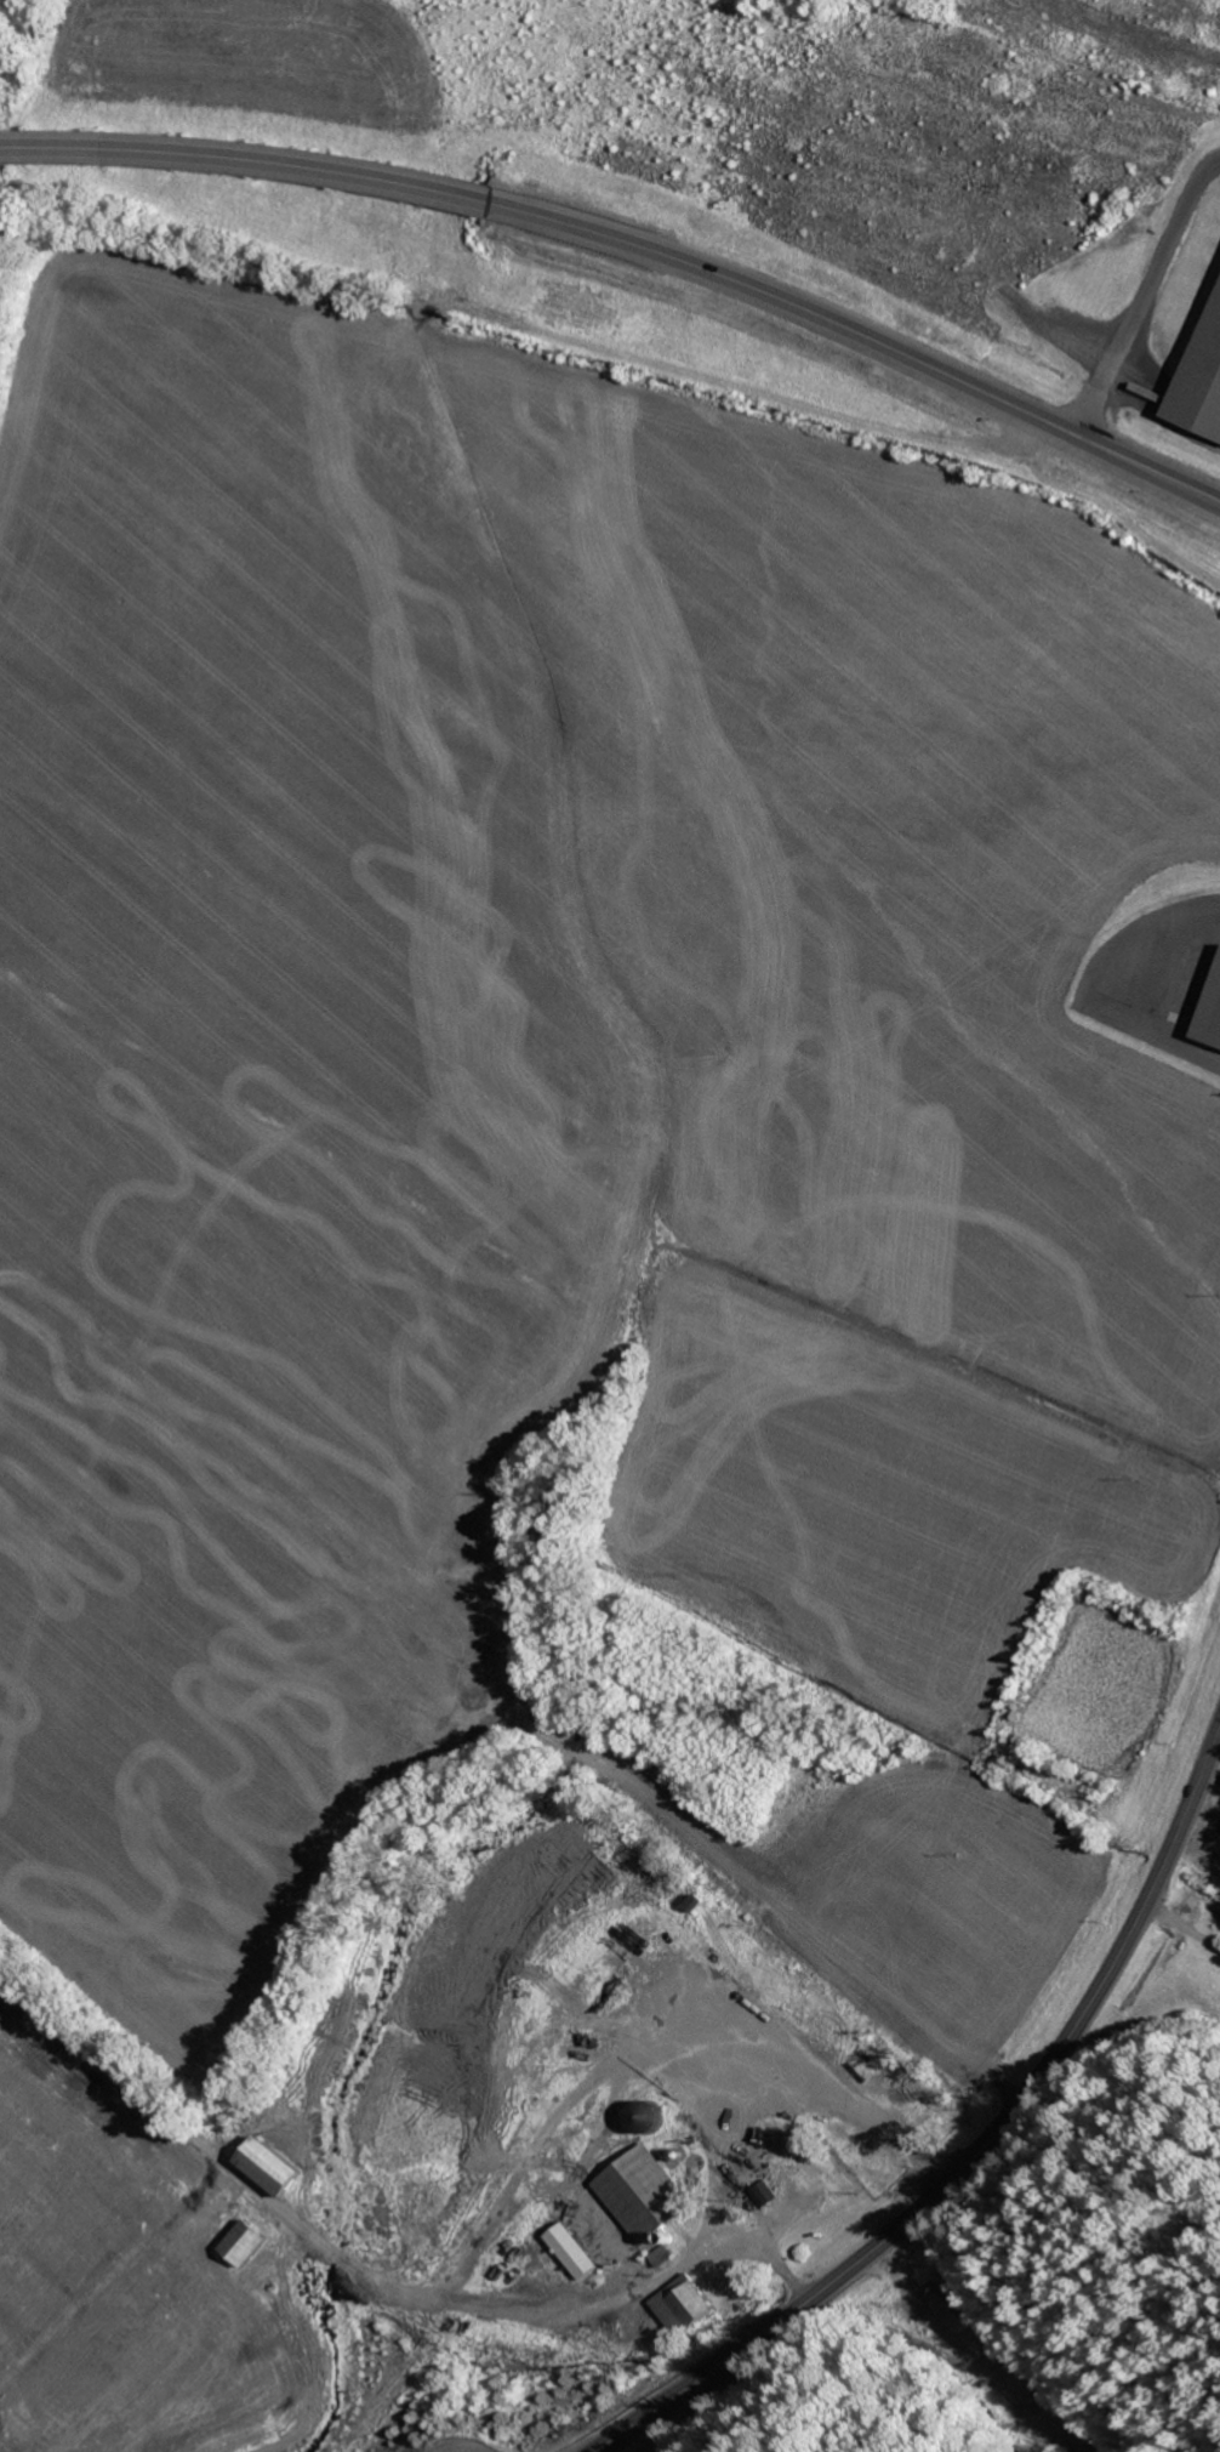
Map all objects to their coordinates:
road: (247, 159)
road: (1214, 186)
road: (862, 332)
building: (1202, 382)
building: (1209, 1009)
building: (643, 2116)
road: (980, 2145)
building: (266, 2166)
building: (638, 2192)
building: (760, 2192)
building: (241, 2243)
building: (568, 2251)
building: (677, 2305)
building: (948, 2306)
road: (467, 2446)

